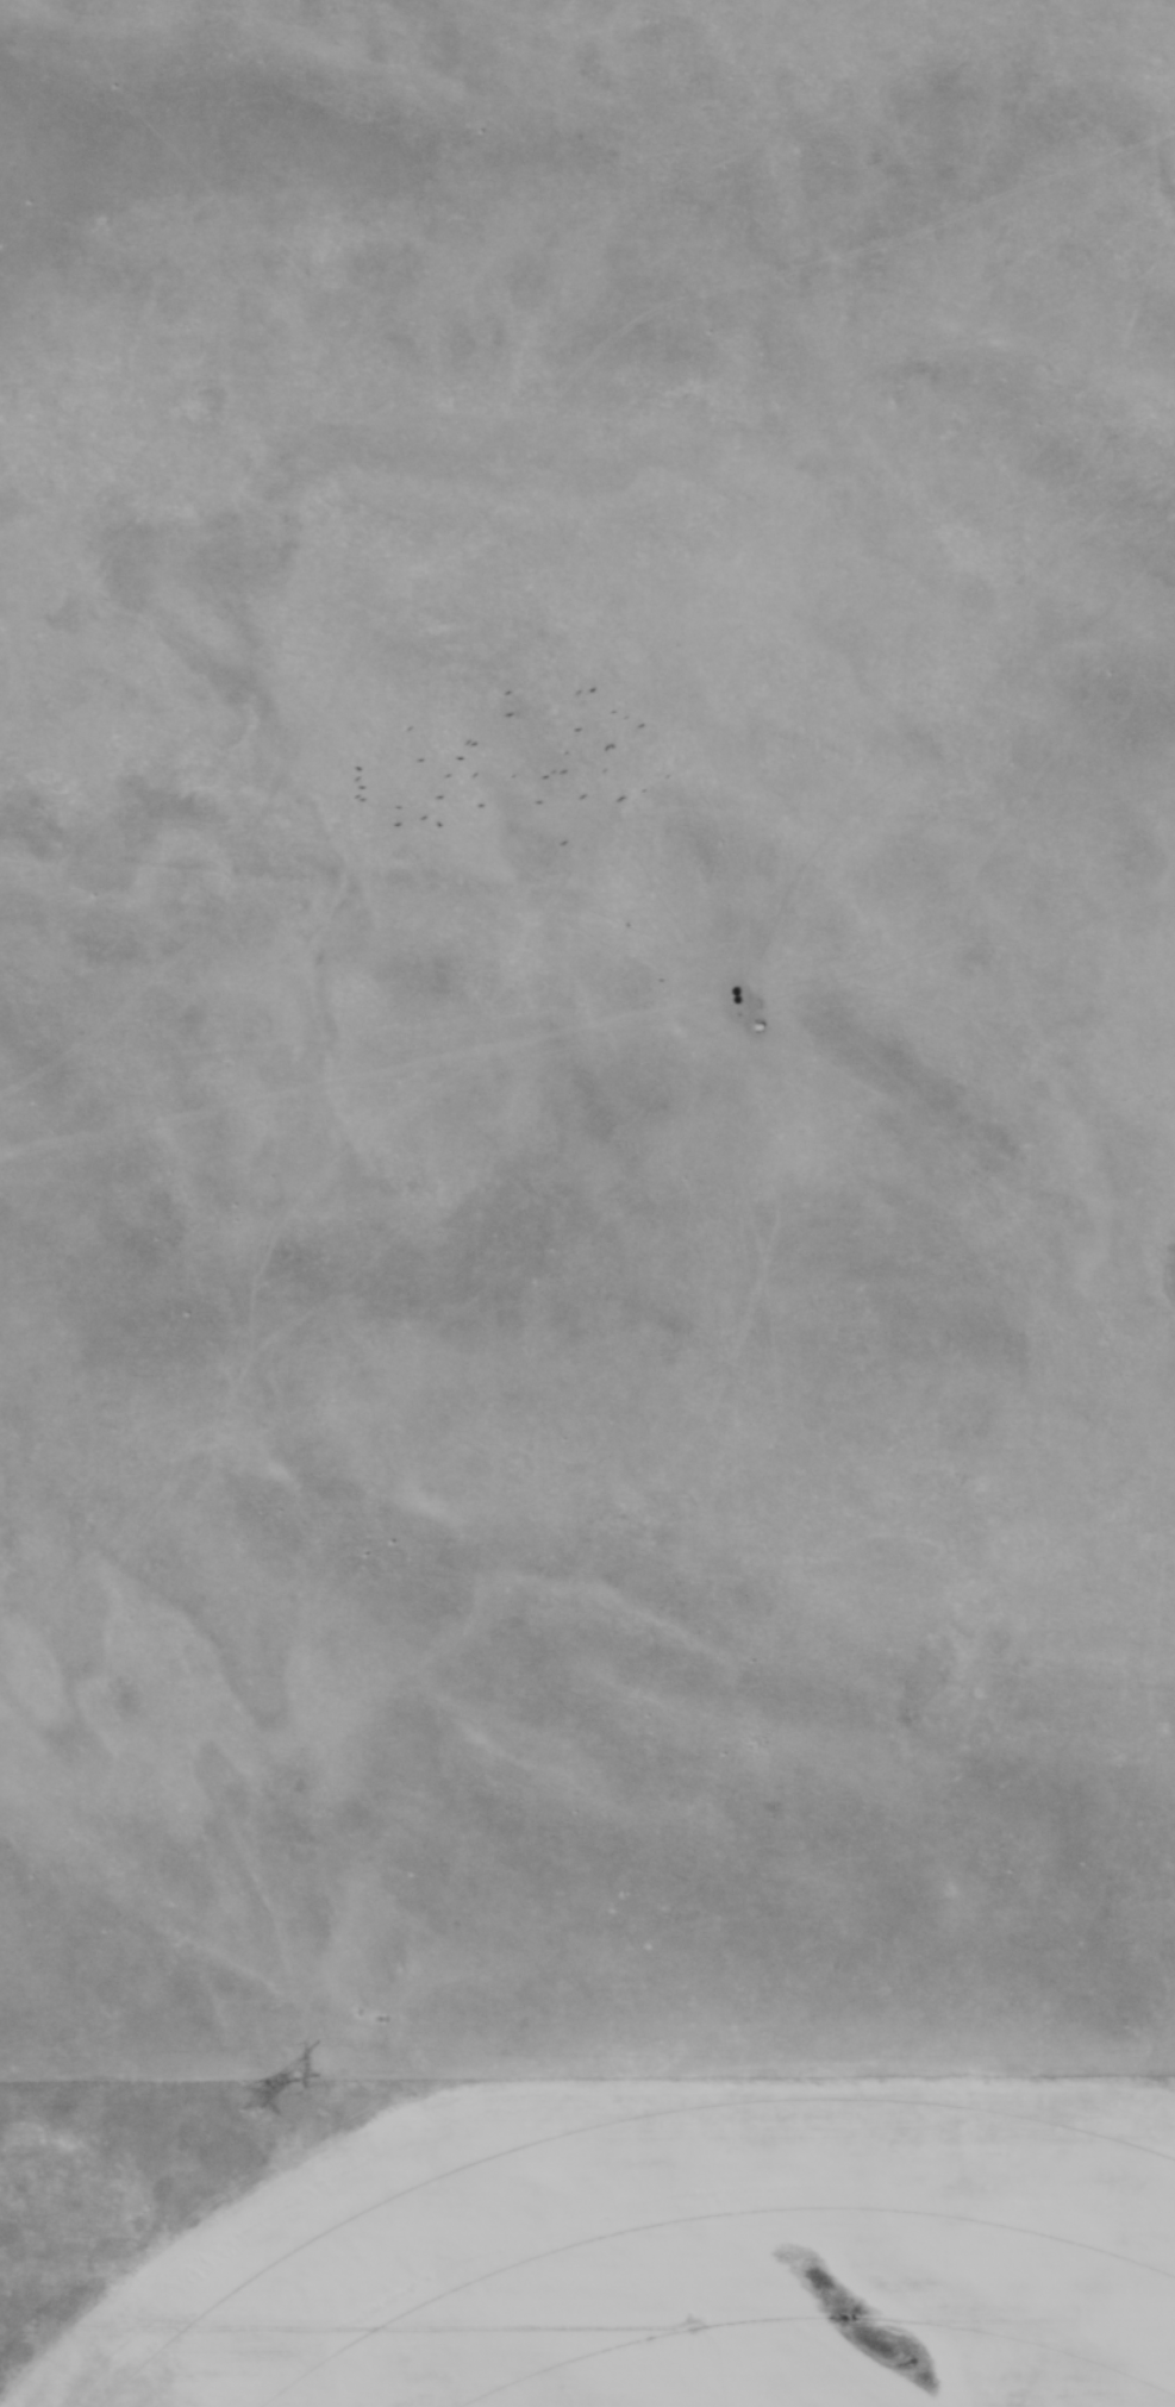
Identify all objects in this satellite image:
power tower: (249, 2099)

